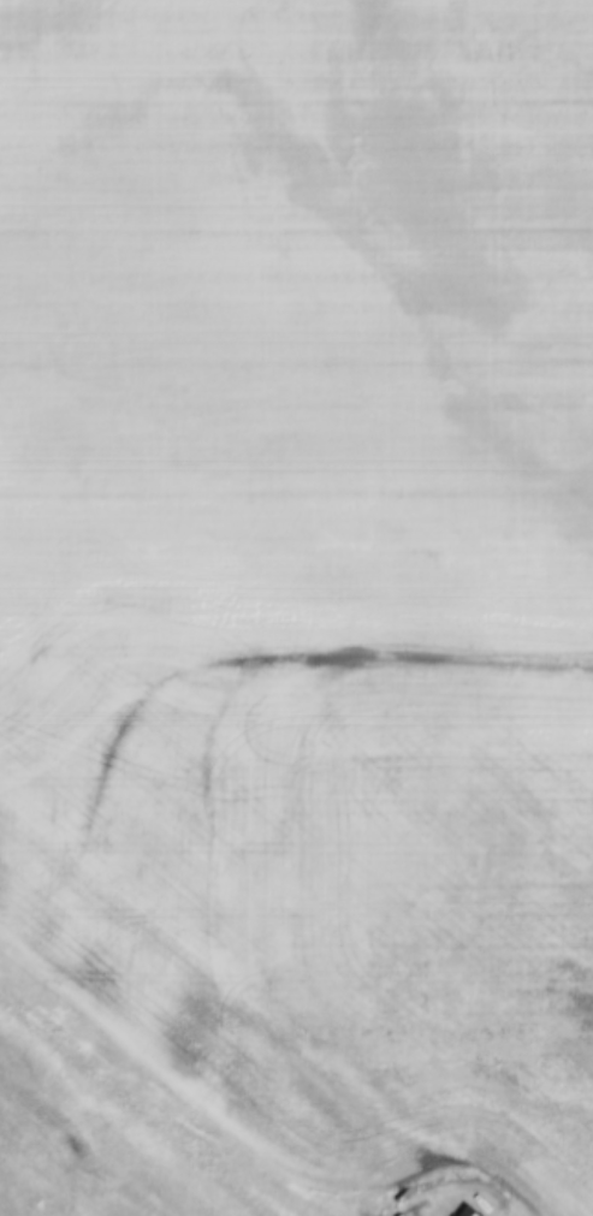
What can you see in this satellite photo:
building: (468, 1211)

